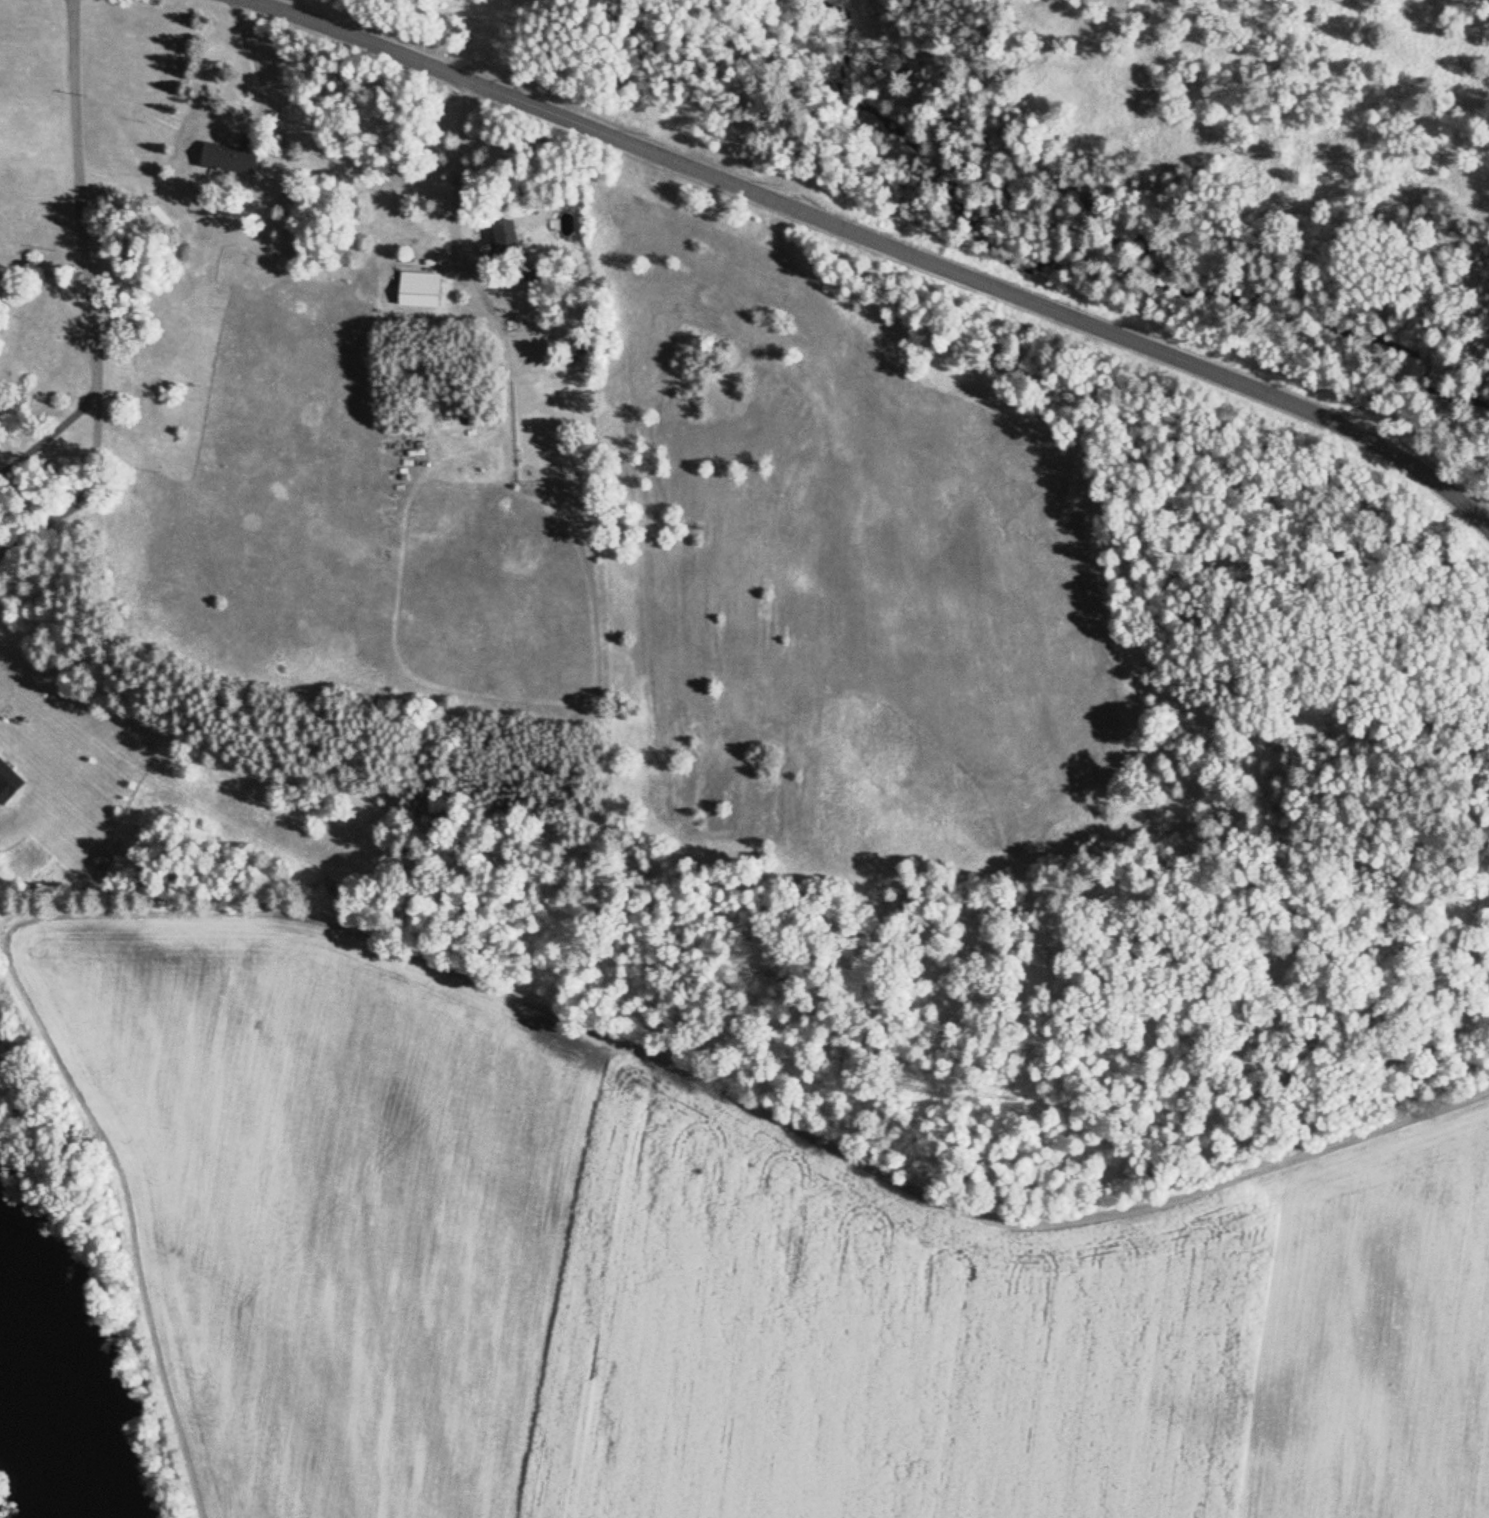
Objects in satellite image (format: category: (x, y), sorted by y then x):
park: (432, 34)
building: (236, 161)
building: (504, 243)
road: (877, 244)
road: (84, 248)
building: (421, 292)
road: (52, 430)
building: (9, 785)
river: (58, 1399)

